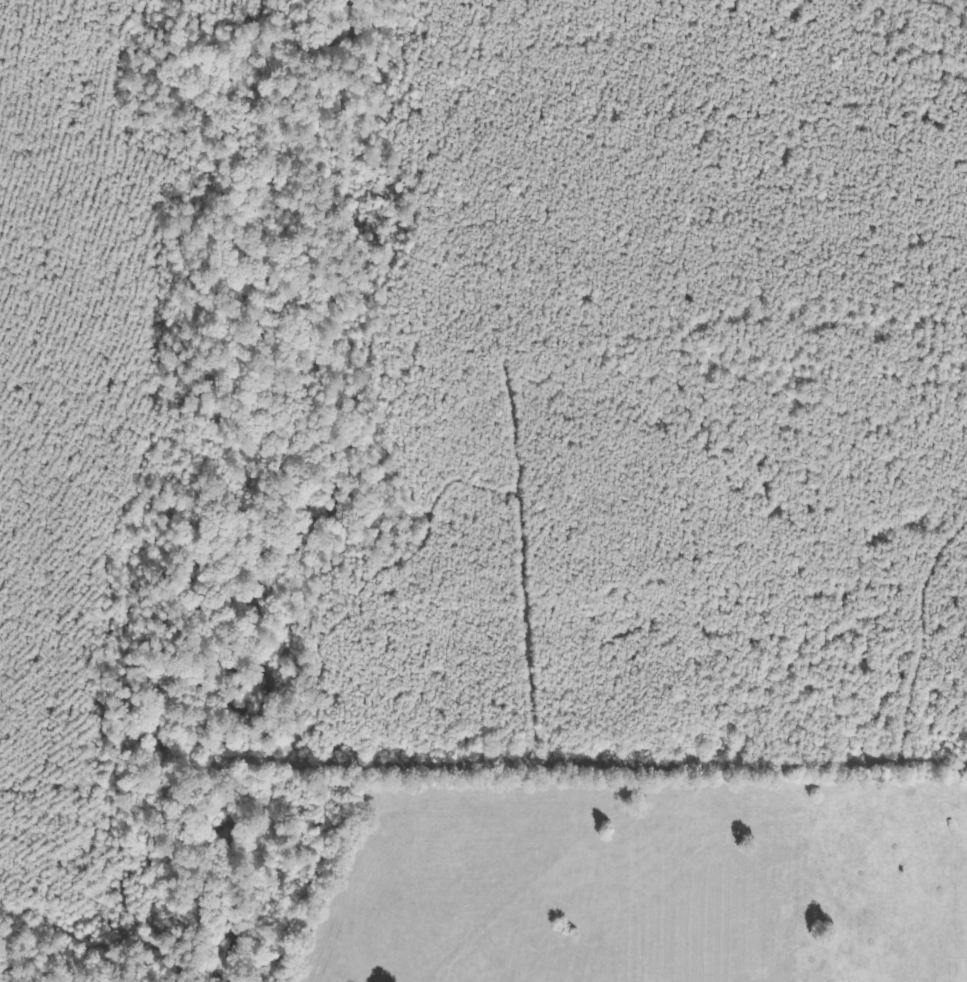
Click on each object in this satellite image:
road: (927, 31)
road: (626, 407)

